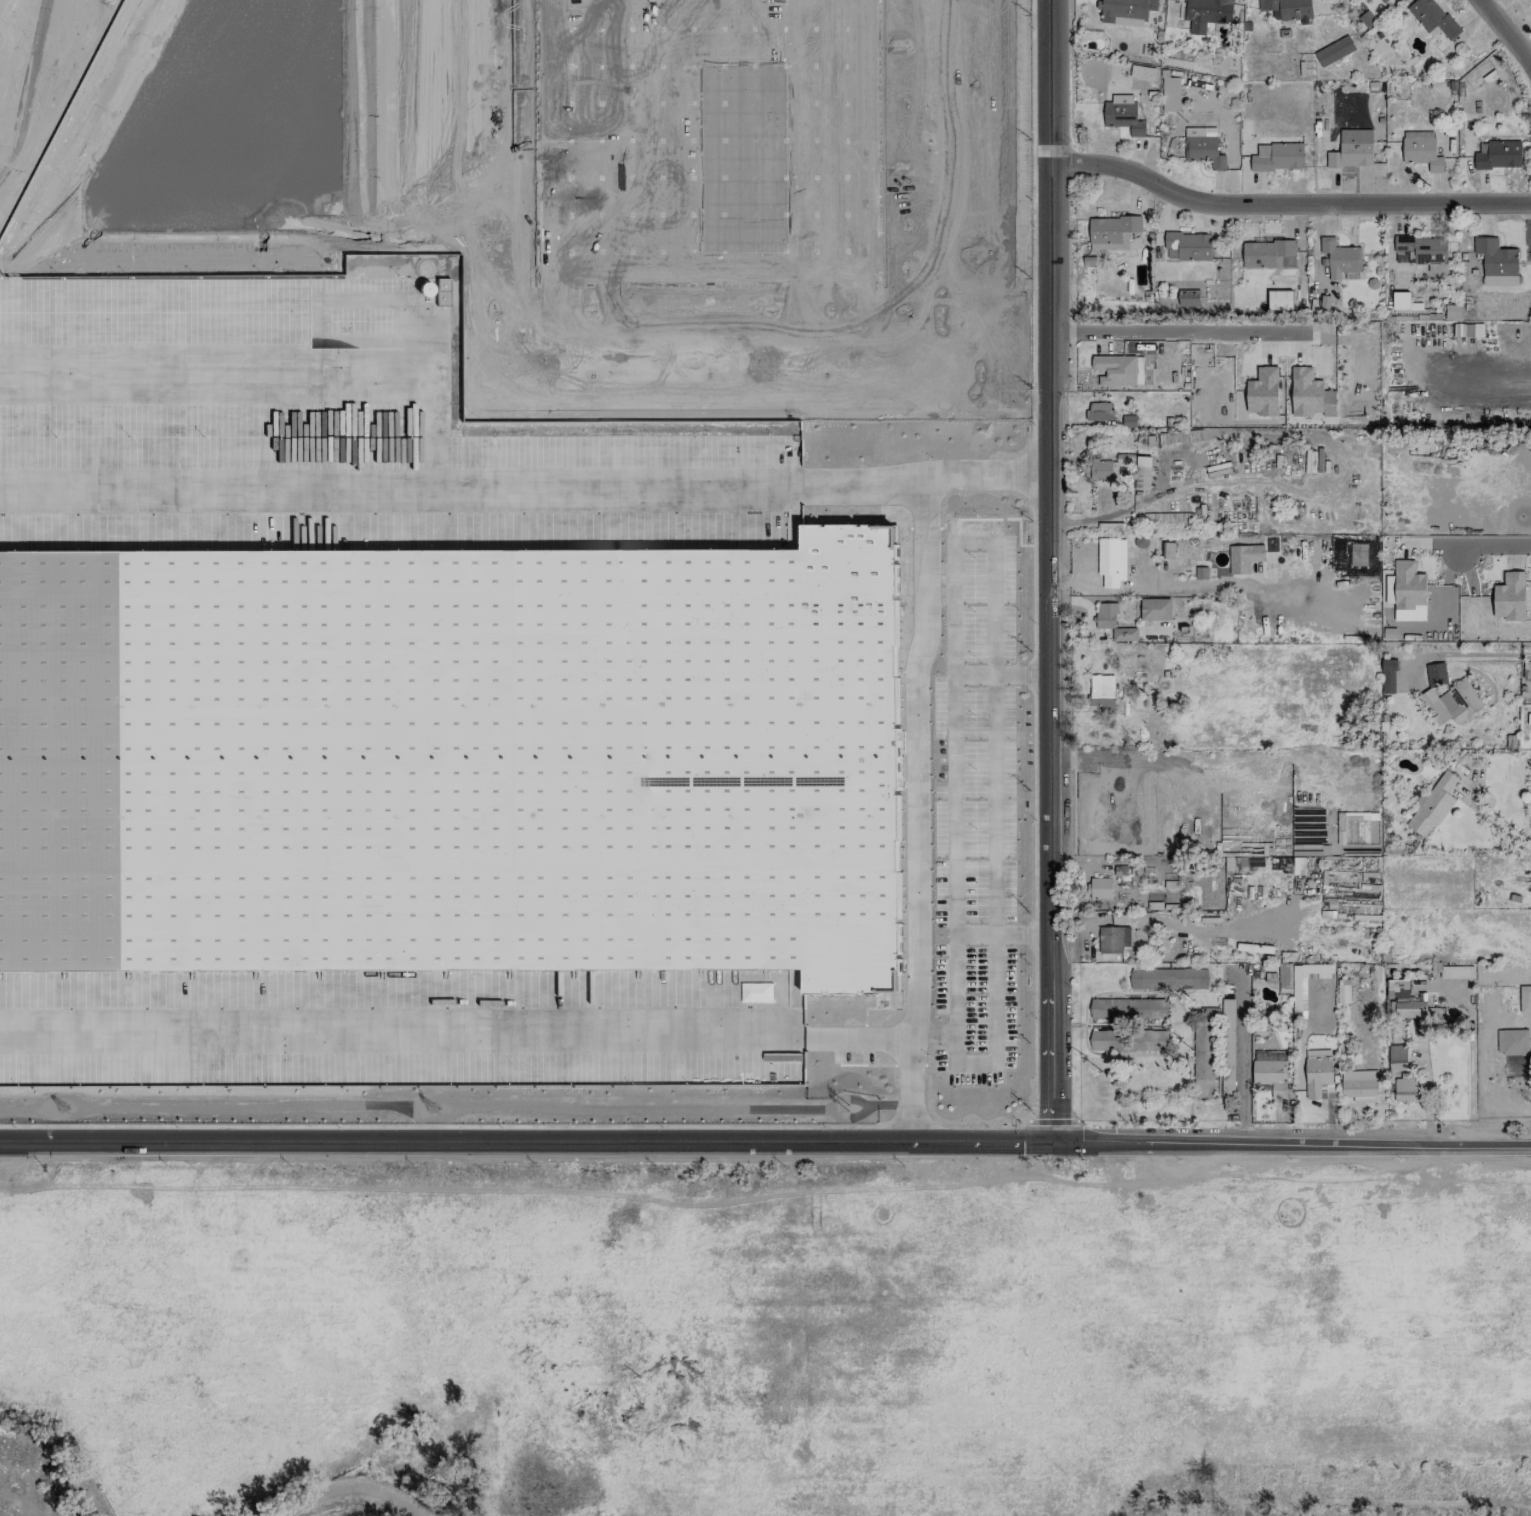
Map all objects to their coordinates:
building: (1383, 1)
building: (1529, 2)
road: (1521, 8)
building: (1288, 9)
building: (1206, 14)
building: (1432, 18)
building: (1367, 19)
building: (1334, 51)
building: (1142, 72)
park: (37, 76)
road: (27, 85)
building: (1170, 94)
building: (1123, 114)
building: (711, 141)
building: (1203, 147)
building: (1421, 150)
building: (1351, 154)
building: (1498, 154)
building: (1277, 157)
road: (944, 172)
road: (1287, 213)
building: (1111, 232)
building: (1187, 246)
building: (1268, 254)
building: (1341, 260)
building: (1497, 262)
building: (1188, 297)
building: (1279, 300)
building: (1400, 300)
building: (1452, 311)
road: (1181, 332)
road: (759, 344)
building: (1114, 370)
building: (1263, 392)
building: (1305, 392)
building: (1099, 411)
building: (1128, 421)
building: (1104, 471)
building: (1166, 518)
road: (1474, 547)
building: (1168, 550)
building: (1358, 554)
building: (1244, 558)
building: (1111, 561)
road: (1050, 571)
building: (1201, 572)
building: (1405, 586)
building: (1509, 596)
building: (1155, 609)
building: (1114, 623)
road: (1481, 653)
building: (1436, 674)
building: (1388, 675)
building: (1101, 694)
building: (1461, 700)
building: (1434, 706)
road: (913, 756)
building: (450, 757)
building: (1432, 805)
road: (1494, 822)
building: (1242, 863)
building: (1100, 888)
building: (1113, 939)
building: (1285, 978)
building: (1169, 979)
building: (1343, 991)
building: (1299, 994)
building: (1525, 998)
building: (1406, 999)
building: (1124, 1007)
building: (1512, 1042)
road: (456, 1044)
building: (1228, 1046)
building: (1203, 1055)
building: (1397, 1057)
road: (1241, 1063)
building: (1270, 1071)
building: (1318, 1074)
building: (1359, 1085)
building: (1405, 1089)
road: (525, 1148)
road: (1290, 1149)
road: (348, 1487)

